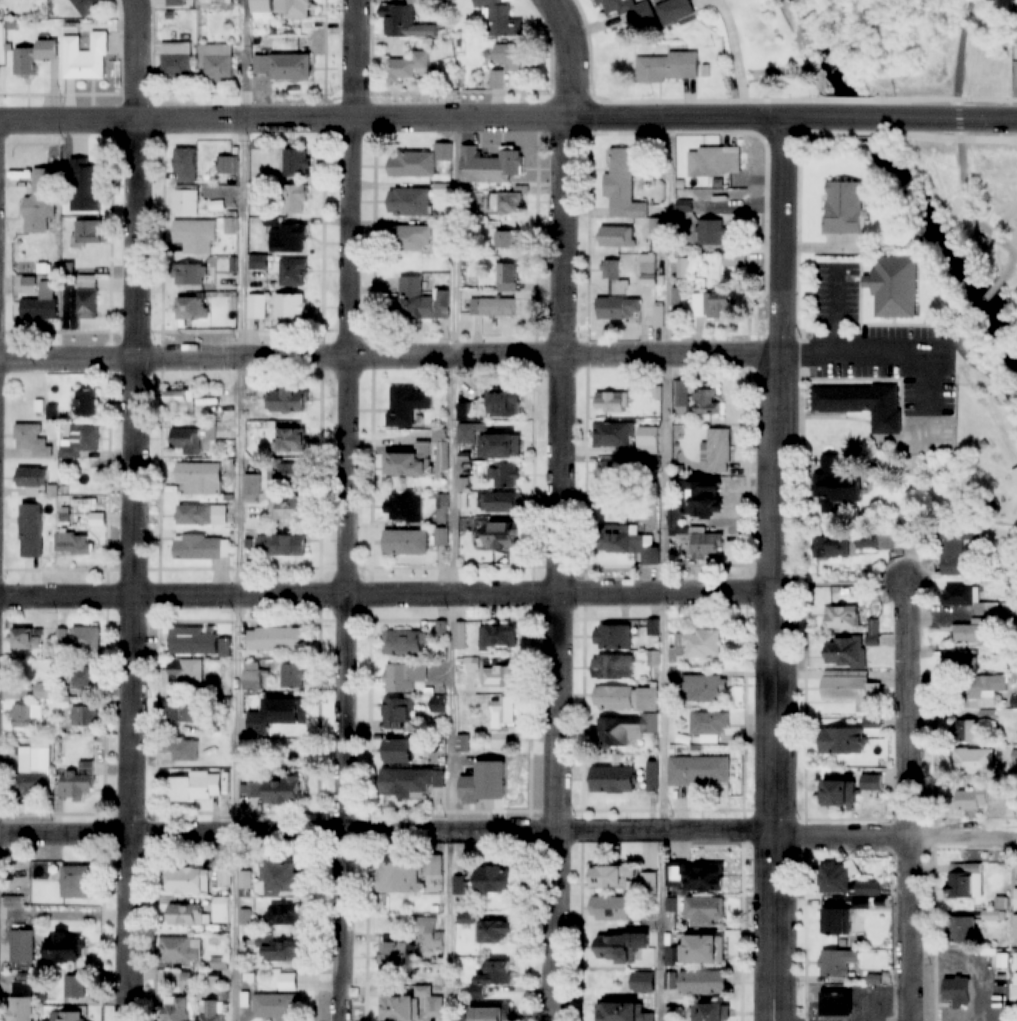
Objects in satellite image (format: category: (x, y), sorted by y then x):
building: (87, 6)
building: (280, 8)
building: (674, 11)
building: (642, 13)
building: (500, 19)
building: (406, 22)
road: (568, 55)
building: (33, 56)
building: (84, 57)
building: (176, 60)
building: (511, 60)
building: (216, 61)
building: (282, 67)
building: (407, 67)
building: (668, 68)
road: (394, 117)
road: (810, 118)
road: (870, 118)
road: (963, 120)
road: (960, 146)
building: (419, 162)
building: (296, 163)
building: (714, 163)
building: (186, 165)
building: (228, 165)
building: (490, 165)
river: (903, 178)
building: (85, 186)
building: (622, 188)
building: (44, 191)
building: (295, 200)
building: (186, 201)
building: (409, 202)
building: (508, 202)
building: (684, 205)
building: (826, 213)
building: (231, 226)
building: (656, 227)
building: (87, 231)
building: (711, 233)
building: (194, 235)
building: (412, 238)
building: (617, 238)
building: (289, 239)
building: (504, 240)
building: (736, 260)
building: (682, 269)
building: (648, 271)
building: (293, 273)
building: (190, 275)
building: (507, 277)
building: (614, 280)
building: (893, 287)
building: (87, 297)
building: (412, 297)
road: (988, 297)
building: (677, 300)
building: (41, 303)
building: (443, 305)
building: (711, 305)
building: (191, 307)
building: (257, 307)
building: (290, 308)
building: (496, 308)
building: (620, 309)
building: (658, 315)
road: (823, 317)
parking lot: (861, 348)
road: (392, 358)
road: (874, 359)
road: (975, 363)
building: (682, 397)
building: (180, 401)
building: (286, 401)
building: (706, 401)
building: (502, 402)
building: (611, 402)
building: (86, 403)
building: (862, 403)
building: (407, 404)
building: (612, 436)
building: (648, 436)
building: (32, 440)
building: (291, 440)
building: (80, 441)
building: (186, 441)
building: (496, 446)
building: (717, 451)
building: (410, 462)
building: (287, 473)
building: (613, 473)
building: (507, 475)
building: (1014, 475)
building: (31, 477)
building: (199, 477)
building: (827, 485)
building: (703, 498)
building: (500, 503)
building: (287, 507)
building: (404, 507)
road: (137, 510)
road: (242, 510)
road: (349, 510)
building: (201, 515)
building: (32, 531)
building: (500, 536)
building: (442, 537)
building: (866, 541)
building: (405, 542)
building: (630, 543)
building: (73, 544)
building: (282, 545)
building: (706, 545)
building: (199, 547)
building: (831, 547)
building: (954, 550)
road: (454, 569)
road: (559, 569)
road: (667, 569)
road: (781, 570)
road: (390, 594)
building: (969, 601)
building: (841, 618)
building: (976, 631)
building: (499, 638)
building: (613, 638)
building: (26, 639)
building: (277, 639)
building: (86, 640)
building: (193, 642)
building: (402, 643)
building: (698, 646)
building: (849, 649)
building: (959, 665)
building: (612, 668)
building: (185, 672)
building: (85, 677)
building: (252, 677)
building: (293, 677)
building: (404, 677)
building: (501, 678)
building: (705, 689)
building: (984, 690)
building: (42, 691)
building: (851, 691)
building: (613, 698)
building: (647, 699)
building: (396, 711)
building: (79, 713)
building: (179, 713)
building: (504, 714)
building: (278, 716)
building: (27, 717)
building: (708, 725)
building: (972, 728)
building: (626, 730)
building: (842, 741)
building: (179, 750)
building: (396, 752)
building: (974, 761)
building: (34, 769)
building: (699, 771)
building: (492, 775)
building: (613, 780)
building: (79, 782)
building: (409, 782)
building: (869, 783)
building: (195, 789)
building: (276, 791)
building: (839, 794)
building: (971, 798)
road: (909, 801)
road: (508, 832)
building: (434, 866)
building: (835, 877)
building: (400, 878)
building: (613, 878)
building: (705, 878)
building: (224, 879)
building: (281, 879)
building: (187, 880)
building: (494, 880)
building: (74, 881)
building: (965, 881)
building: (649, 883)
building: (461, 885)
building: (869, 889)
building: (1015, 900)
building: (220, 909)
building: (610, 909)
building: (704, 912)
building: (185, 915)
building: (285, 915)
building: (993, 915)
building: (833, 922)
building: (1015, 926)
building: (961, 930)
building: (428, 932)
building: (493, 932)
building: (23, 946)
building: (617, 947)
building: (62, 948)
building: (181, 950)
building: (280, 950)
building: (697, 950)
building: (395, 960)
building: (219, 962)
building: (835, 963)
building: (492, 978)
building: (177, 979)
building: (288, 982)
building: (703, 982)
building: (76, 987)
building: (956, 990)
building: (424, 992)
building: (835, 1003)
building: (276, 1007)
building: (20, 1009)
building: (175, 1009)
building: (398, 1009)
building: (212, 1011)
building: (708, 1012)
building: (622, 1013)
building: (672, 1014)
building: (485, 1015)
building: (68, 1016)
building: (460, 1019)

